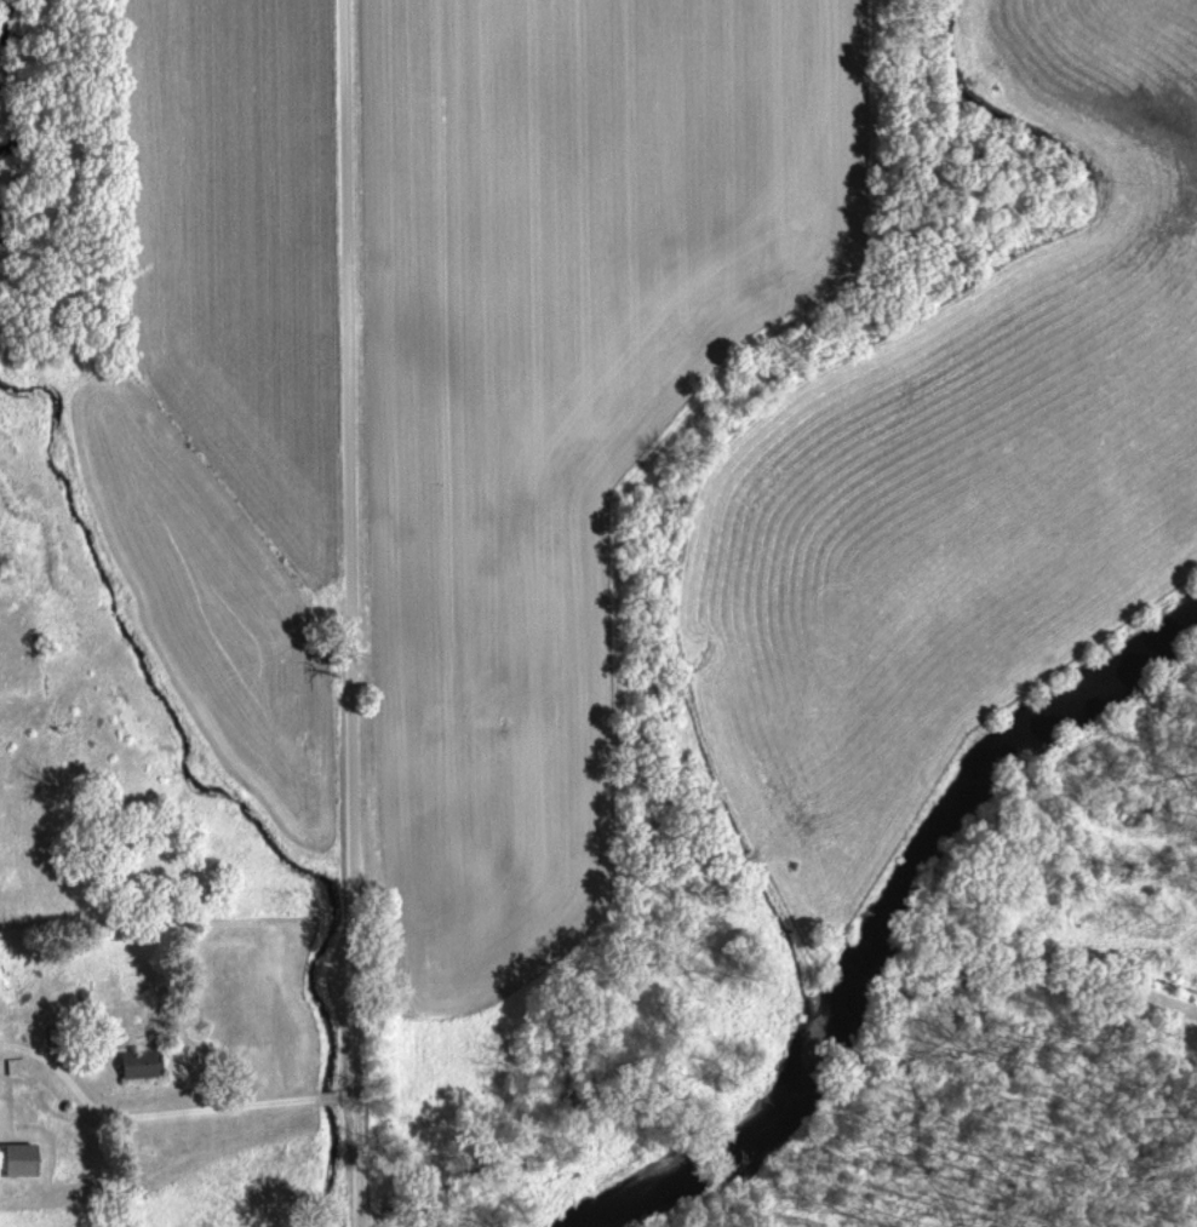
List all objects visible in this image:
road: (357, 613)
building: (141, 1067)
road: (210, 1111)
building: (18, 1163)

